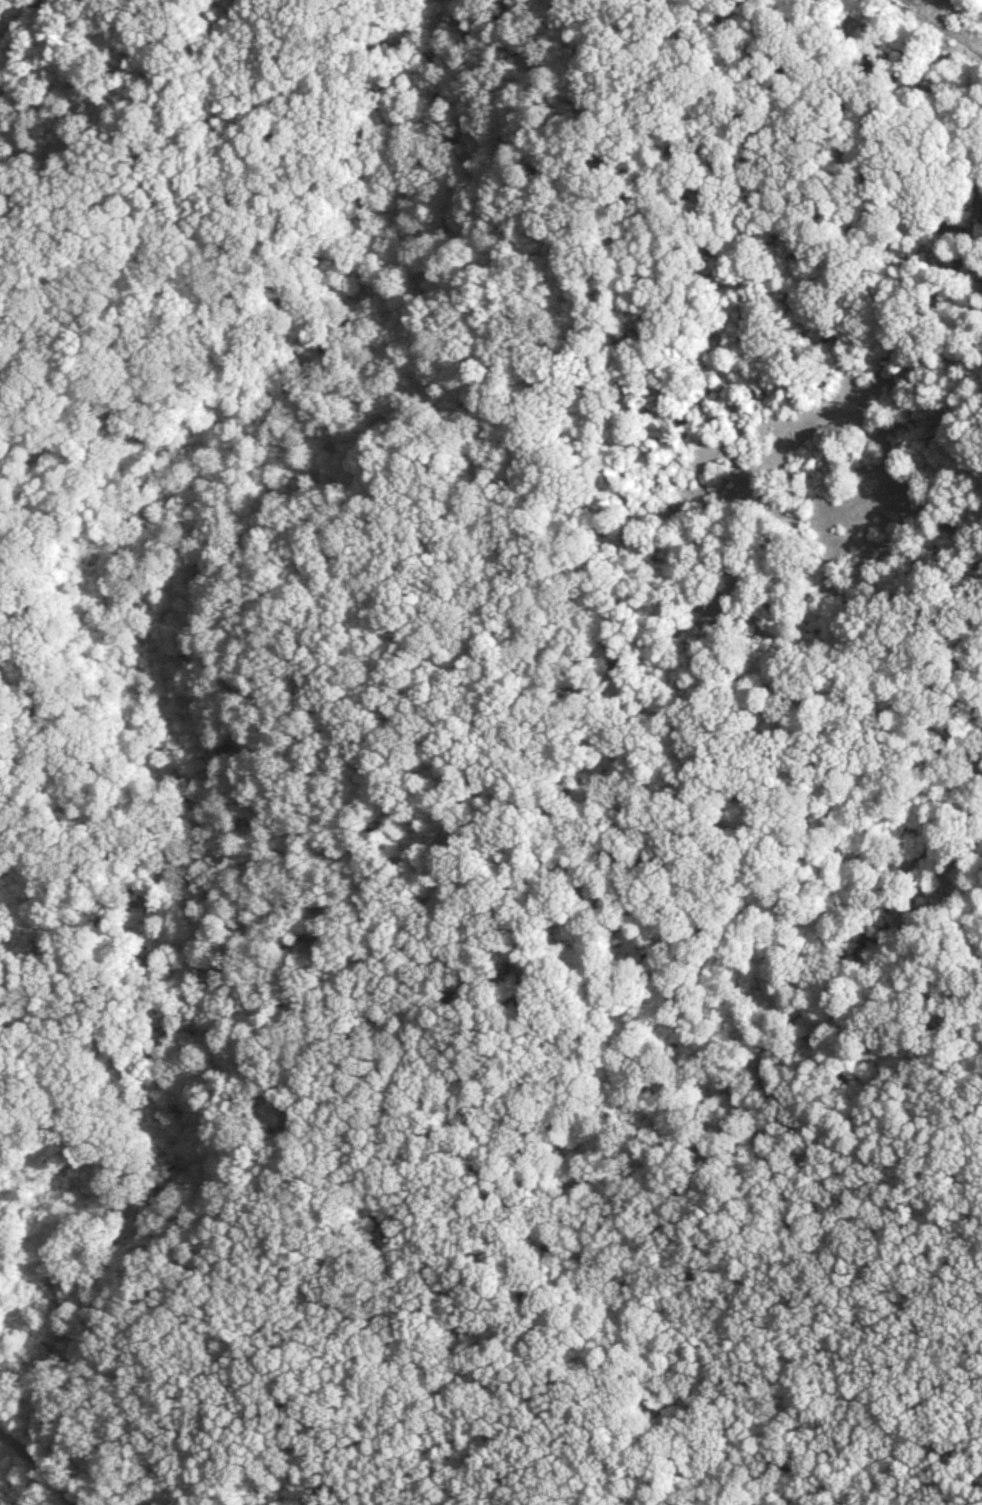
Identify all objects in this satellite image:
road: (26, 22)
road: (128, 70)
road: (233, 208)
park: (262, 621)
road: (31, 684)
road: (41, 1467)

